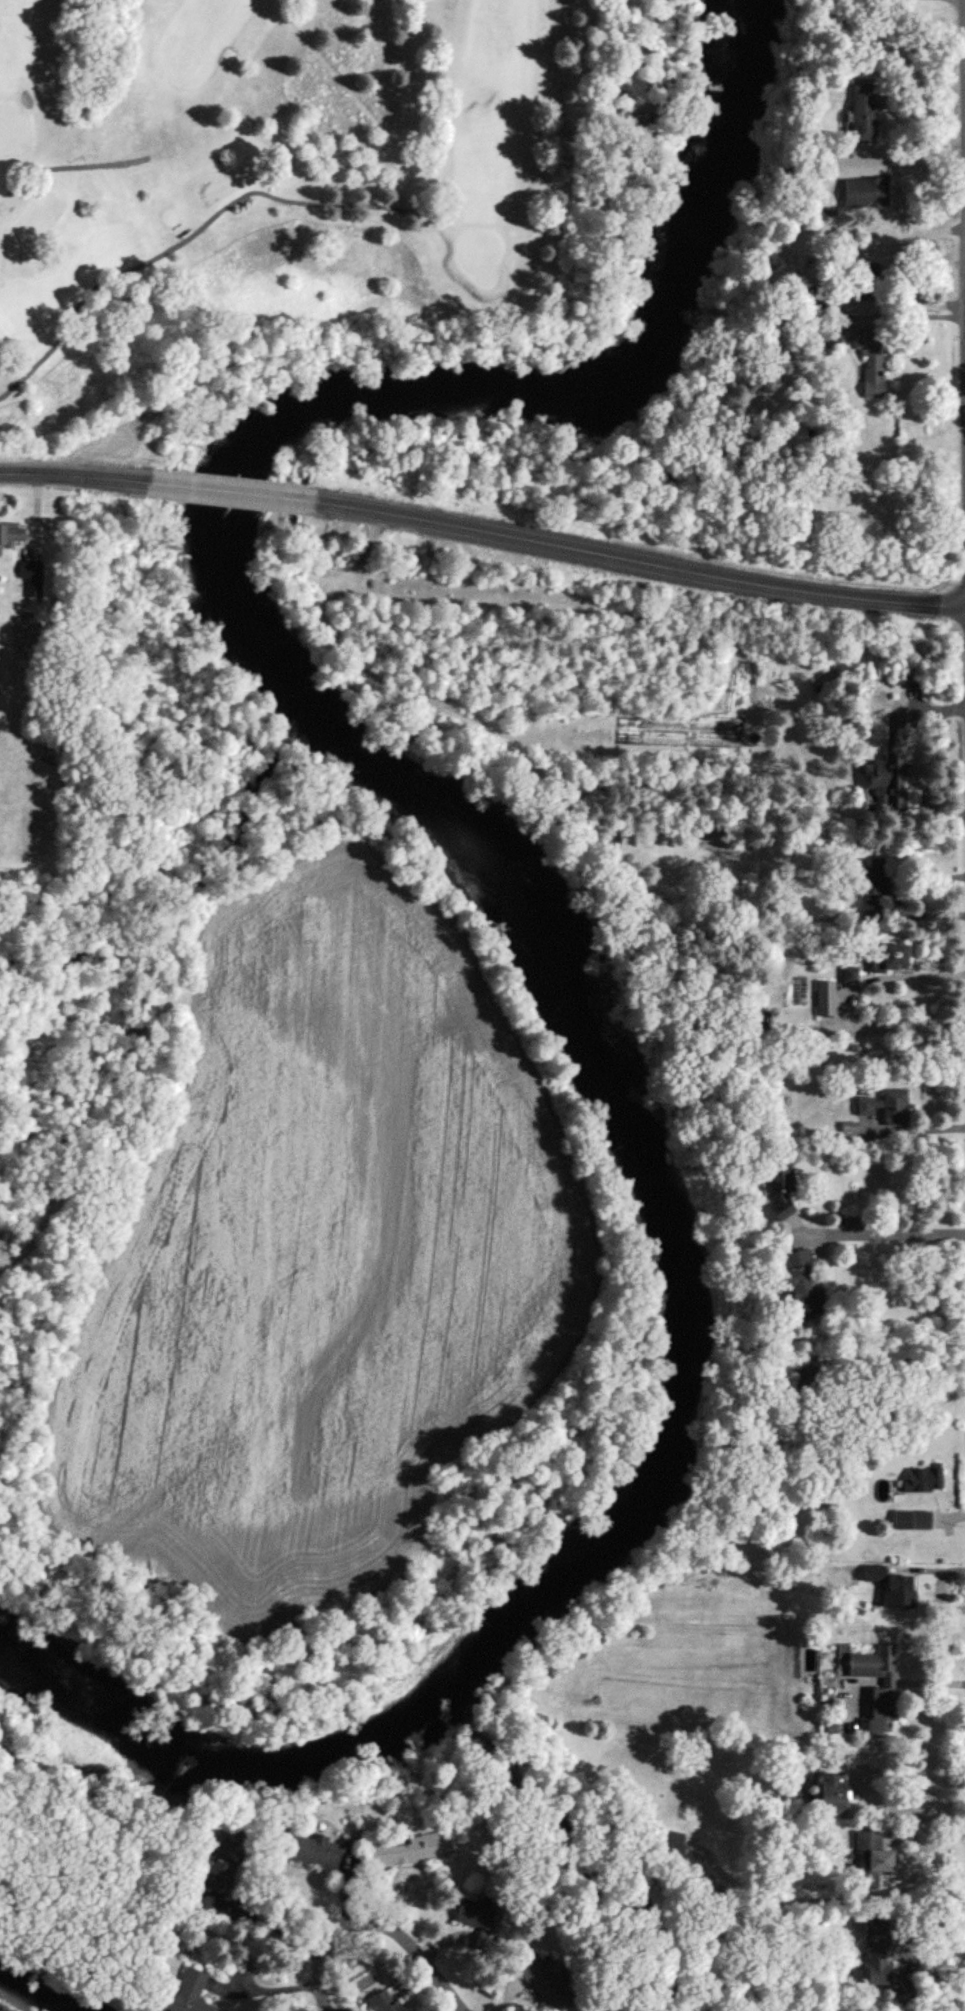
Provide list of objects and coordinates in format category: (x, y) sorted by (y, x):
building: (861, 114)
road: (912, 159)
building: (865, 192)
park: (319, 196)
road: (842, 275)
building: (857, 289)
road: (898, 318)
building: (872, 364)
road: (79, 477)
road: (230, 491)
park: (868, 519)
building: (10, 535)
road: (632, 561)
building: (28, 580)
building: (23, 635)
building: (885, 783)
building: (612, 836)
building: (872, 885)
river: (520, 918)
building: (887, 958)
building: (826, 1000)
road: (849, 1006)
building: (887, 1108)
building: (780, 1190)
road: (886, 1234)
building: (801, 1286)
building: (923, 1481)
building: (911, 1522)
building: (892, 1586)
road: (933, 1682)
building: (881, 1704)
building: (830, 1793)
road: (912, 1812)
building: (309, 1850)
building: (409, 1850)
building: (668, 1850)
building: (871, 1858)
building: (225, 1861)
building: (472, 1912)
road: (382, 1926)
road: (926, 1927)
building: (880, 1964)
building: (546, 1984)
river: (29, 1993)
building: (187, 1994)
building: (383, 2002)

